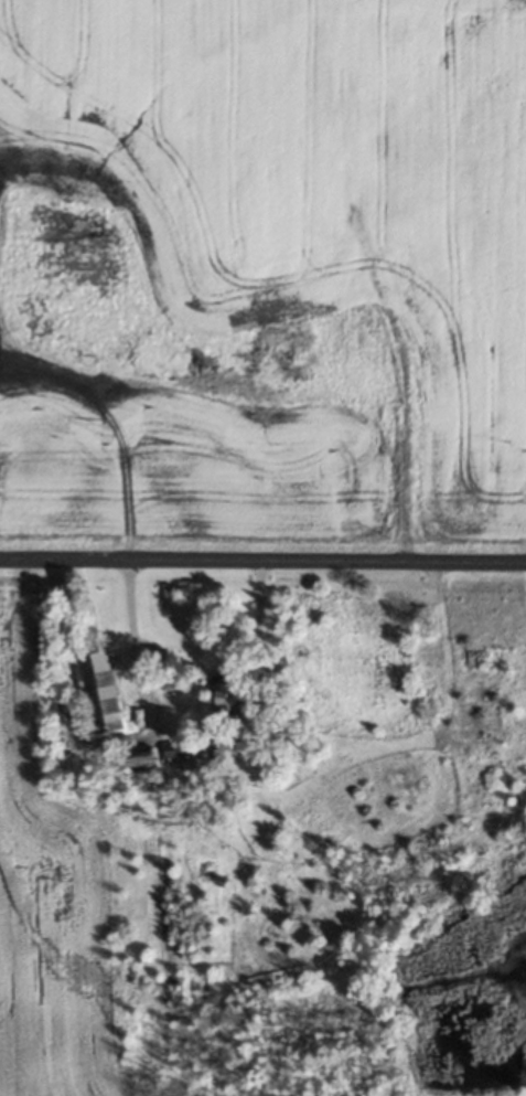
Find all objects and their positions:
road: (262, 562)
building: (99, 691)
building: (227, 696)

